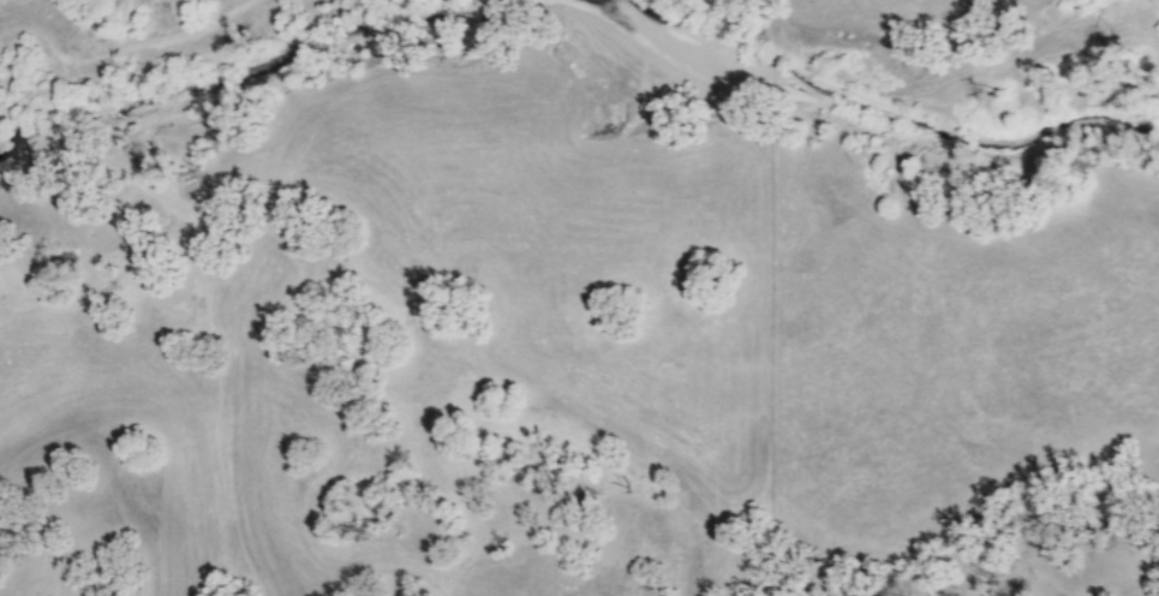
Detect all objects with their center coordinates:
river: (221, 81)
river: (892, 119)

